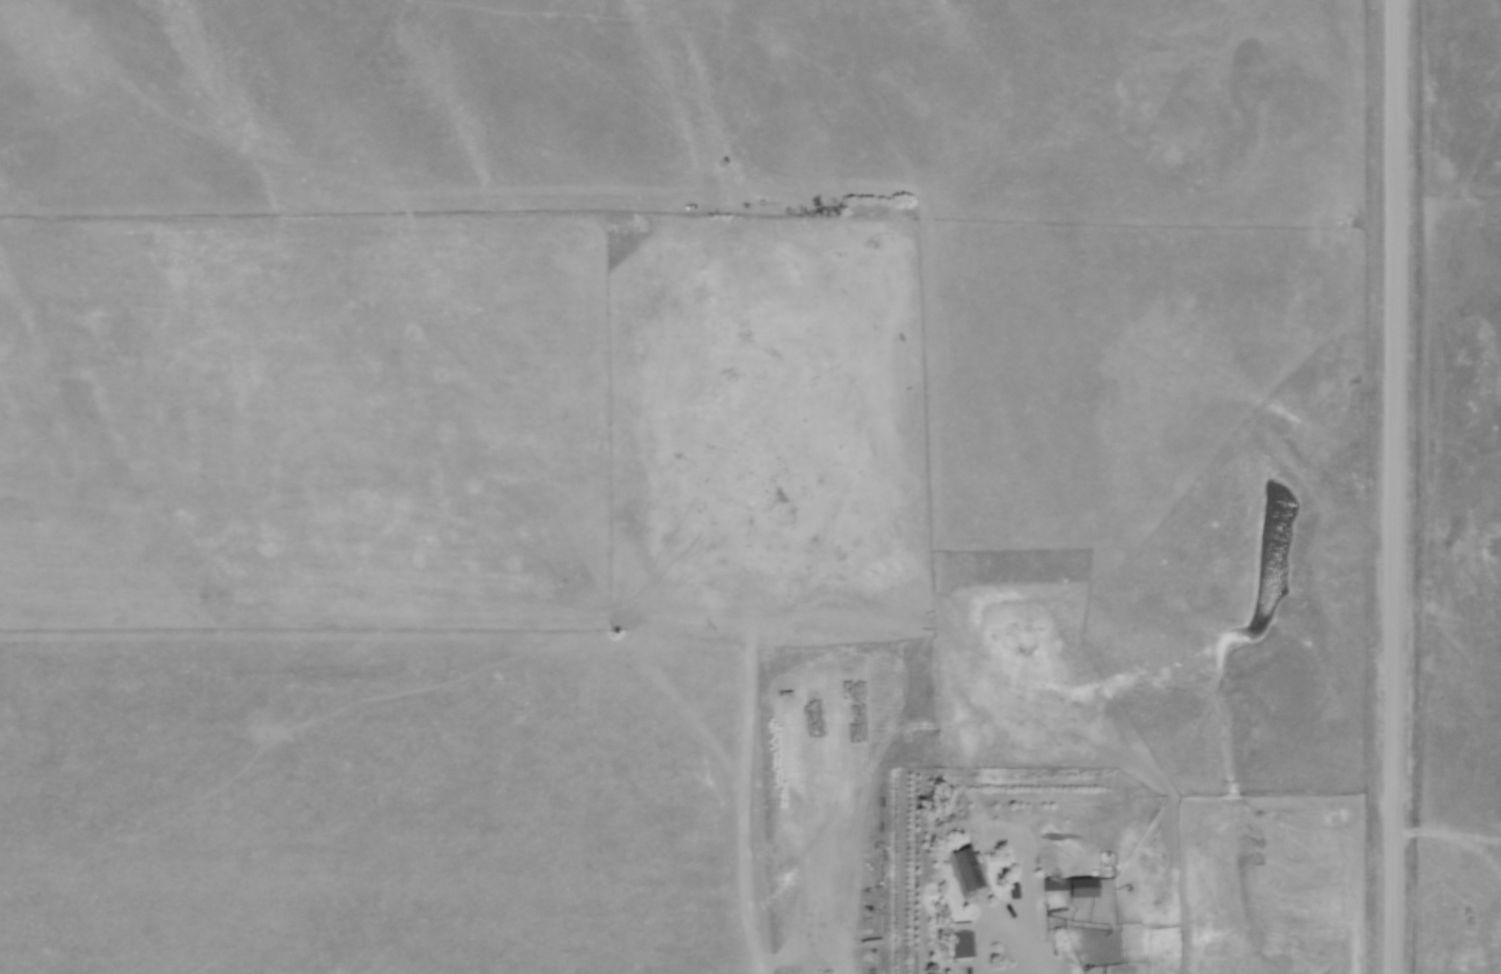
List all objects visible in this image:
crop: (462, 421)
road: (1395, 487)
building: (968, 867)
building: (1074, 887)
building: (964, 940)
road: (1033, 946)

